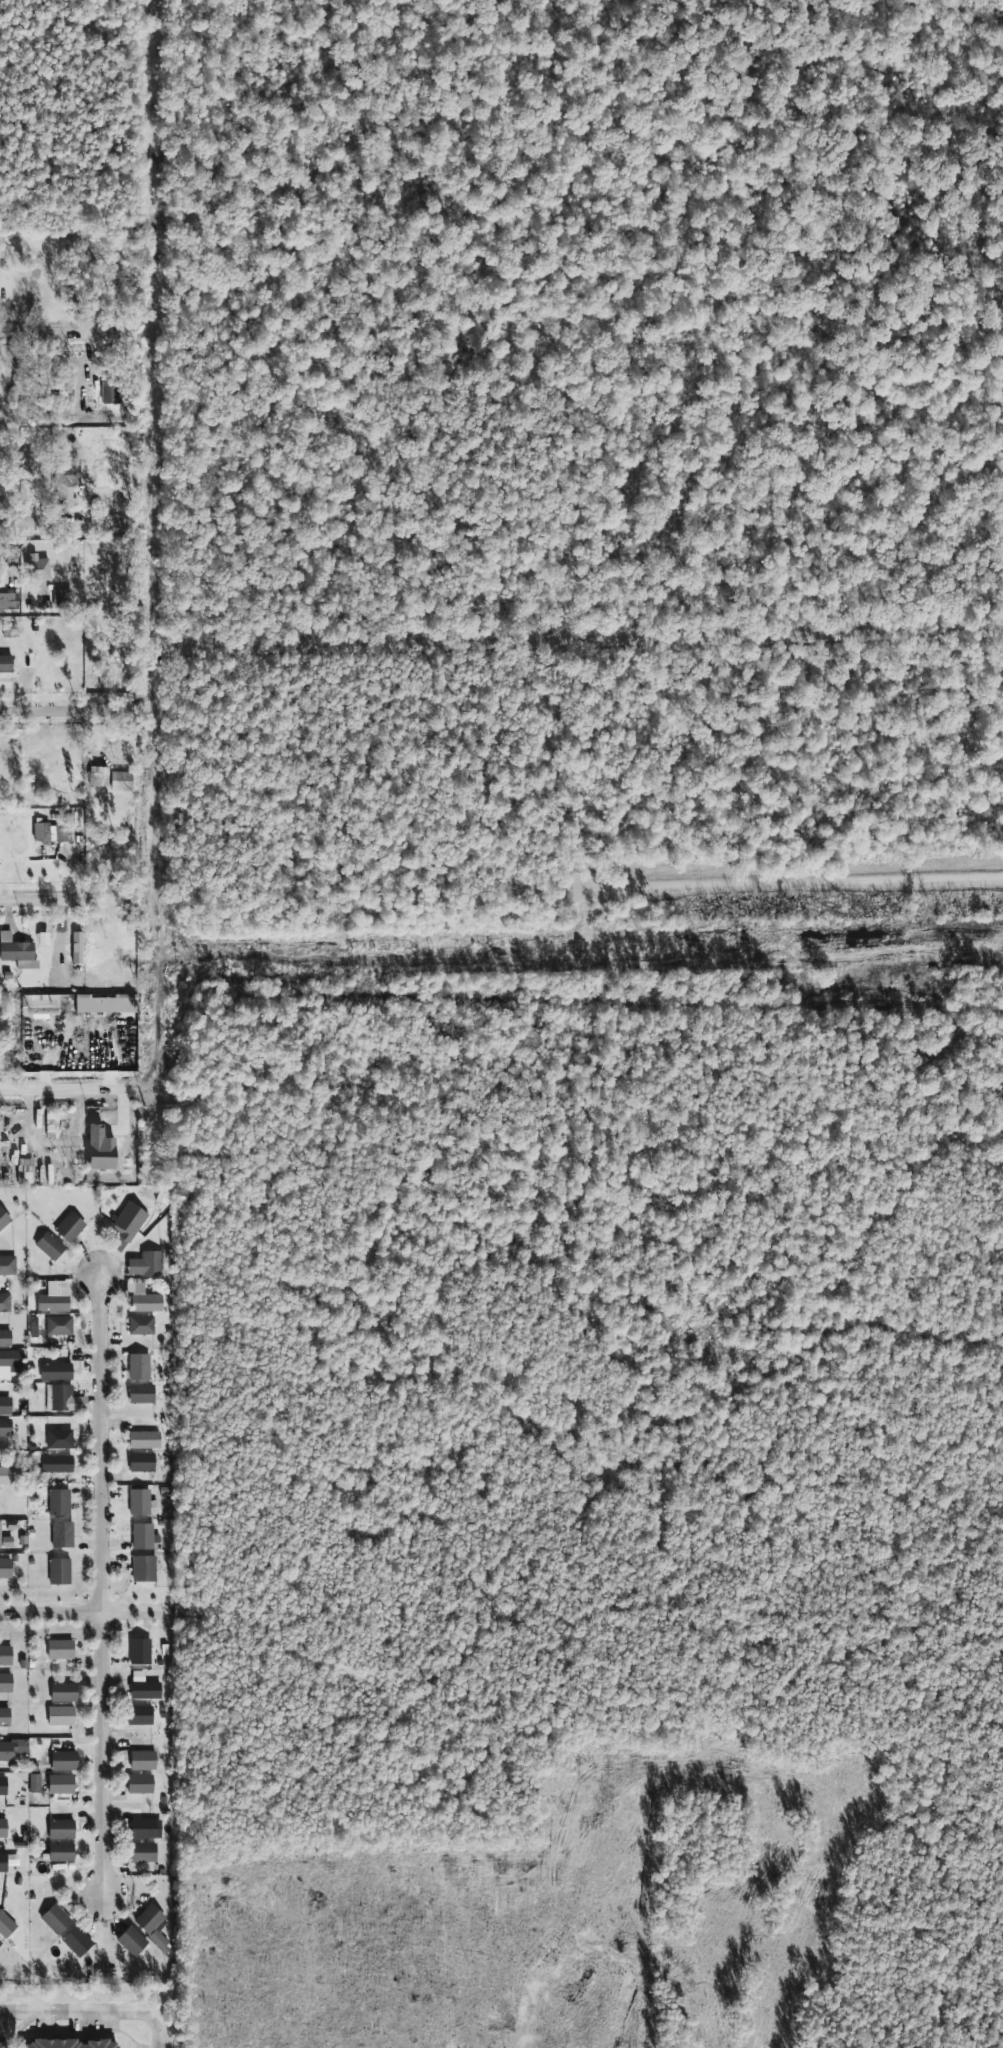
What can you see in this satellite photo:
road: (154, 167)
road: (45, 332)
building: (109, 392)
building: (68, 473)
road: (52, 520)
building: (37, 567)
building: (62, 598)
building: (12, 600)
building: (5, 663)
road: (55, 712)
road: (155, 717)
building: (97, 776)
building: (120, 780)
building: (63, 825)
building: (41, 832)
road: (797, 883)
road: (51, 900)
power tower: (777, 948)
building: (16, 950)
power tower: (183, 960)
road: (401, 961)
building: (41, 1003)
building: (105, 1004)
road: (63, 1085)
building: (99, 1148)
building: (4, 1218)
building: (127, 1224)
building: (69, 1226)
building: (49, 1245)
building: (151, 1263)
building: (7, 1265)
building: (143, 1298)
building: (4, 1302)
building: (52, 1303)
building: (58, 1324)
building: (140, 1324)
building: (5, 1337)
building: (9, 1363)
building: (138, 1366)
building: (55, 1371)
building: (141, 1393)
building: (63, 1398)
building: (5, 1405)
building: (5, 1427)
building: (59, 1438)
building: (144, 1439)
building: (142, 1462)
building: (55, 1463)
building: (5, 1474)
building: (58, 1501)
building: (139, 1501)
building: (62, 1534)
building: (142, 1535)
building: (5, 1540)
building: (5, 1567)
building: (143, 1568)
building: (59, 1570)
road: (102, 1586)
road: (87, 1612)
building: (59, 1648)
building: (139, 1650)
building: (5, 1655)
building: (5, 1682)
building: (143, 1686)
building: (62, 1691)
building: (139, 1714)
building: (60, 1715)
building: (4, 1716)
building: (12, 1748)
building: (142, 1759)
building: (63, 1760)
building: (61, 1783)
building: (140, 1783)
building: (3, 1785)
building: (3, 1827)
building: (61, 1828)
building: (144, 1828)
building: (60, 1852)
building: (143, 1852)
building: (7, 1860)
building: (55, 1918)
building: (149, 1918)
building: (6, 1924)
building: (76, 1940)
building: (131, 1941)
building: (160, 1941)
building: (0, 1942)
road: (92, 2012)
building: (70, 2043)
building: (1, 2045)

